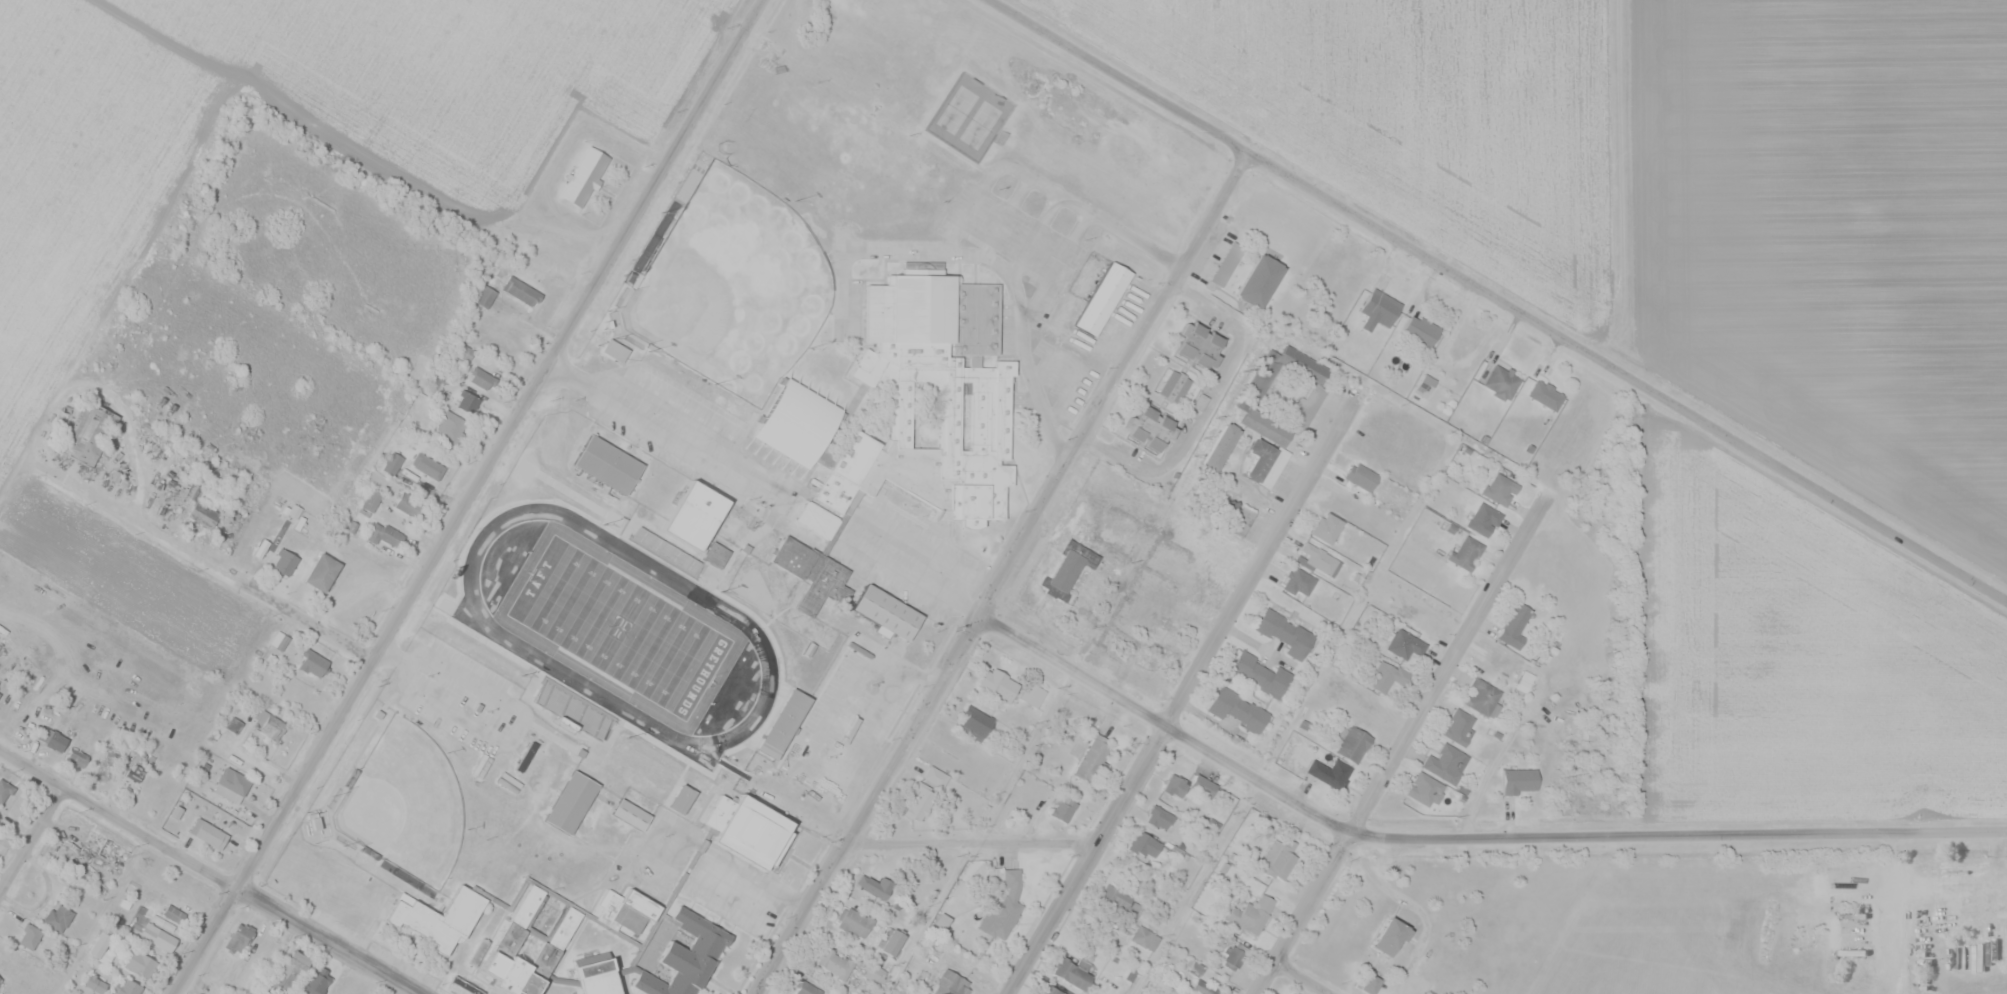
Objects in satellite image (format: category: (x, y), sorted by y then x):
park: (969, 118)
building: (582, 180)
building: (1227, 264)
building: (1261, 280)
park: (732, 289)
building: (521, 290)
building: (485, 295)
road: (1497, 301)
building: (1102, 302)
building: (1380, 309)
building: (1420, 330)
building: (1201, 345)
building: (614, 354)
building: (481, 378)
building: (944, 381)
building: (1501, 381)
road: (87, 384)
building: (1177, 387)
building: (1546, 395)
building: (1311, 398)
building: (468, 402)
building: (450, 426)
building: (1152, 428)
building: (88, 435)
building: (818, 442)
building: (1221, 446)
building: (1265, 462)
building: (427, 465)
building: (607, 468)
building: (1361, 476)
road: (764, 487)
building: (1500, 488)
road: (470, 497)
building: (371, 500)
building: (199, 512)
building: (693, 519)
building: (1484, 519)
building: (818, 520)
building: (1243, 520)
building: (1327, 527)
building: (1466, 552)
road: (200, 555)
building: (716, 555)
building: (1318, 559)
building: (285, 563)
building: (1070, 568)
building: (323, 572)
road: (1002, 572)
building: (1299, 581)
building: (887, 616)
building: (1516, 625)
park: (620, 628)
building: (1286, 633)
building: (833, 638)
track: (506, 640)
building: (1405, 644)
building: (313, 663)
building: (1260, 674)
building: (1387, 676)
building: (998, 683)
building: (0, 693)
building: (1032, 693)
road: (1183, 696)
building: (1483, 698)
building: (1238, 709)
building: (974, 722)
building: (1459, 726)
building: (271, 727)
building: (783, 730)
building: (53, 739)
building: (1353, 743)
road: (1400, 752)
building: (973, 755)
building: (76, 757)
building: (1093, 757)
building: (1446, 763)
building: (109, 764)
building: (134, 772)
building: (1330, 772)
building: (649, 775)
building: (1520, 780)
building: (1175, 783)
building: (231, 785)
building: (1203, 786)
building: (1425, 789)
building: (4, 790)
building: (926, 793)
building: (681, 804)
building: (570, 806)
park: (405, 807)
building: (1063, 807)
building: (1159, 816)
building: (630, 818)
road: (1462, 835)
building: (751, 836)
building: (211, 839)
road: (30, 840)
road: (975, 841)
building: (1144, 844)
building: (111, 851)
building: (1279, 856)
road: (210, 871)
building: (546, 873)
building: (505, 885)
building: (1933, 888)
building: (1118, 901)
building: (1003, 906)
building: (173, 912)
building: (1251, 913)
building: (439, 916)
building: (57, 917)
building: (854, 920)
building: (245, 931)
building: (156, 935)
building: (1391, 935)
building: (29, 936)
building: (531, 940)
building: (893, 940)
building: (100, 943)
building: (1234, 955)
building: (686, 958)
building: (834, 961)
building: (140, 963)
building: (288, 971)
building: (875, 972)
building: (1072, 972)
building: (1, 979)
road: (1303, 979)
building: (316, 980)
building: (94, 982)
building: (596, 982)
building: (1371, 982)
building: (950, 983)
building: (125, 986)
building: (808, 988)
building: (1051, 990)
building: (1296, 993)

